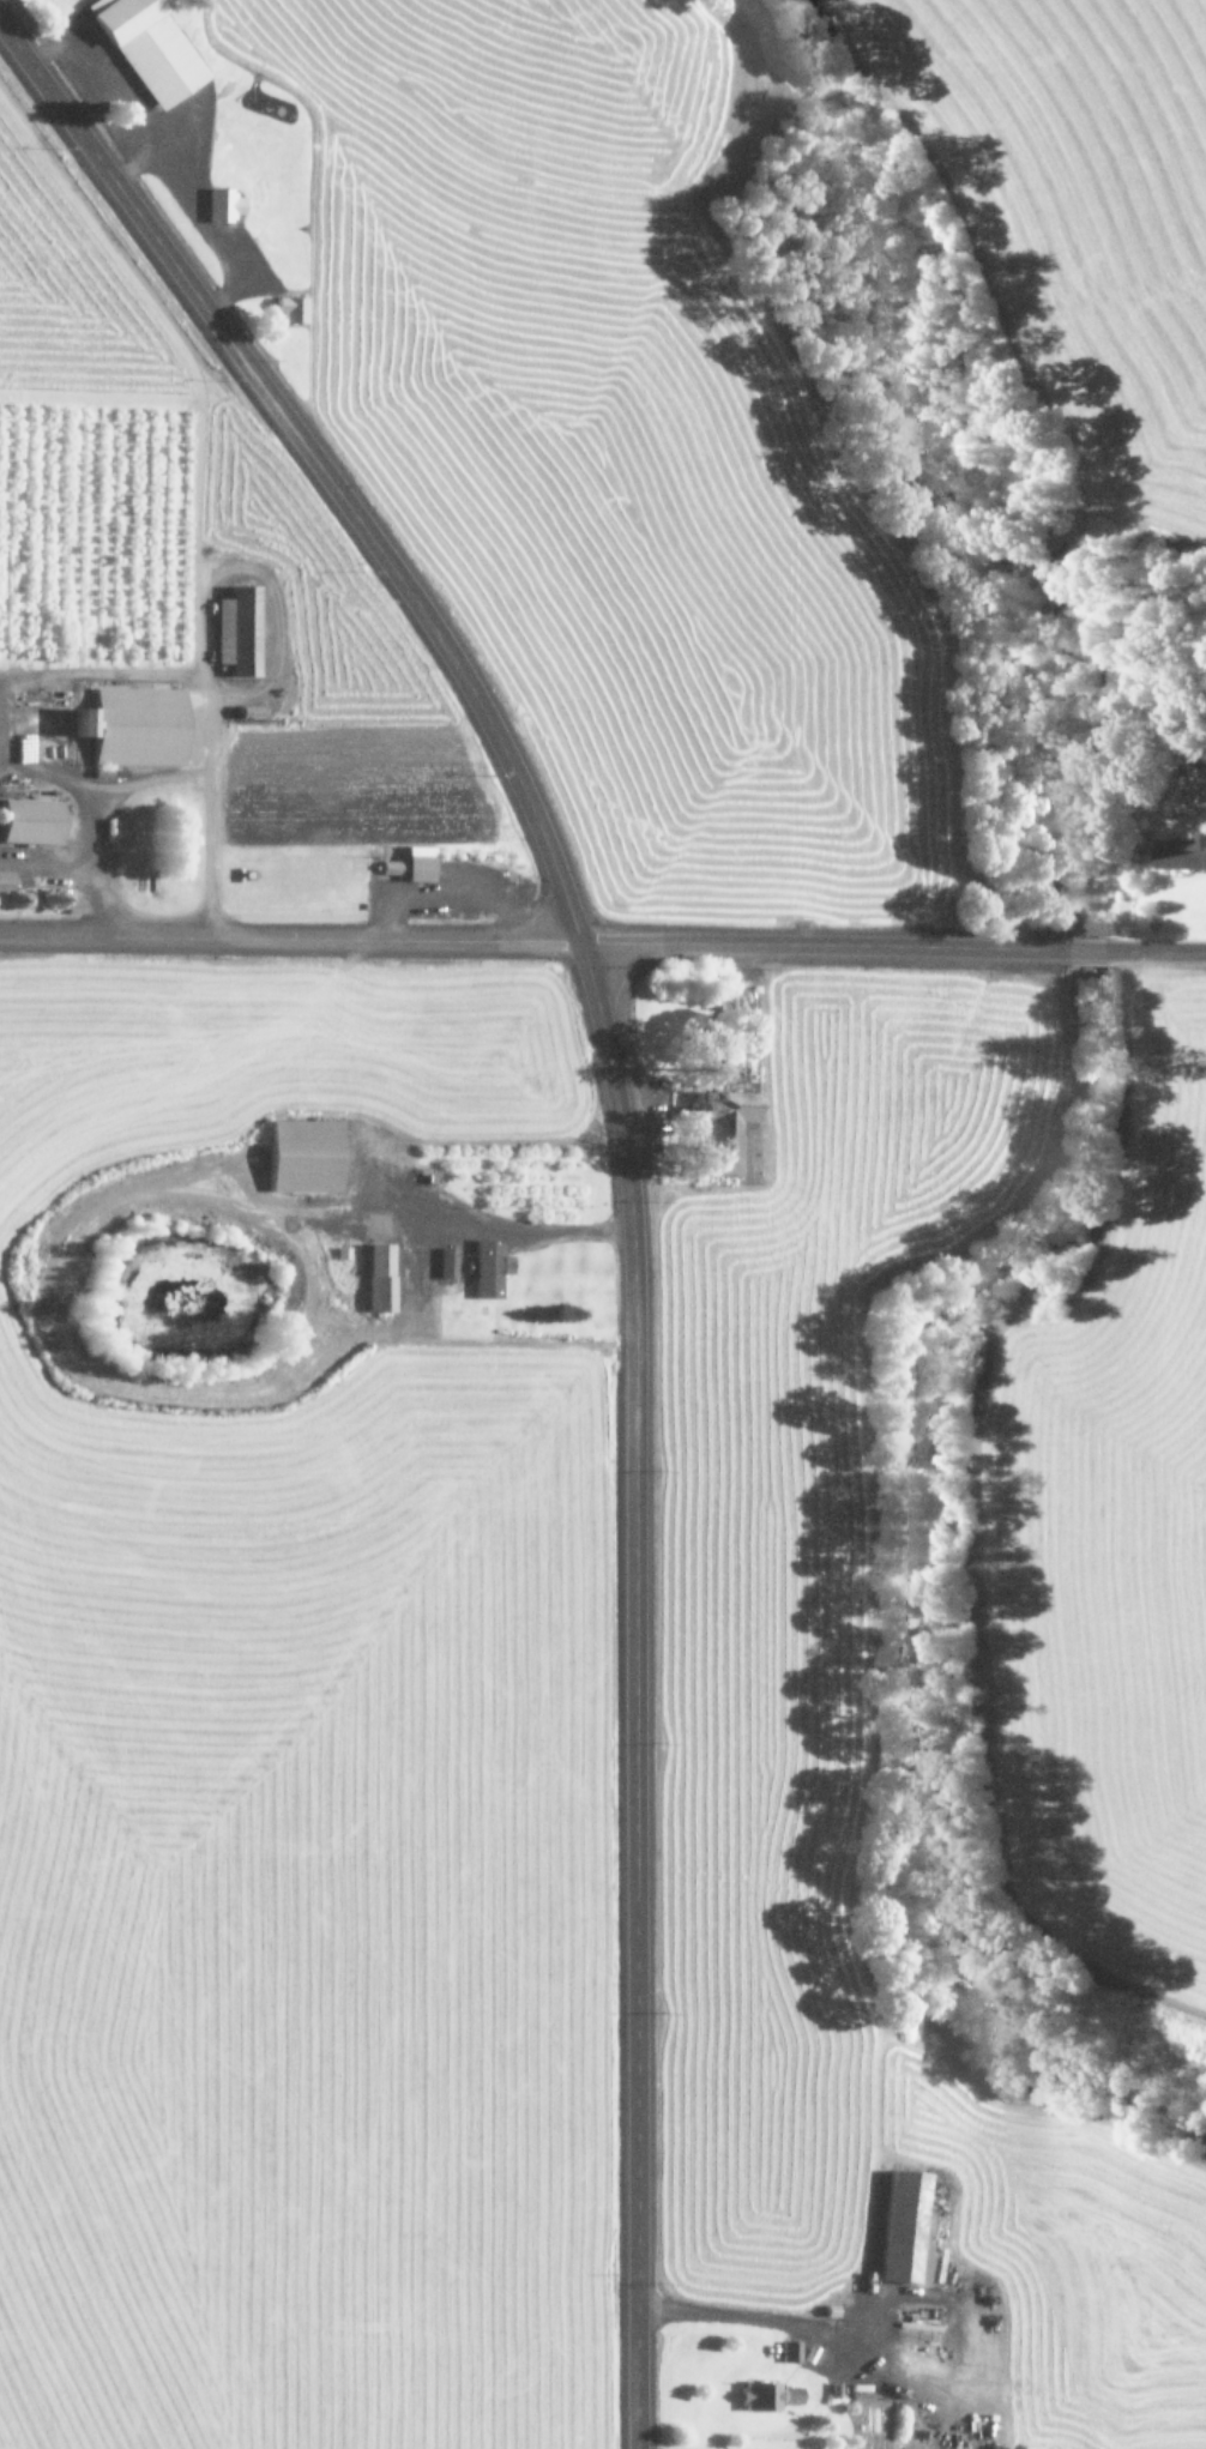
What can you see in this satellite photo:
building: (146, 48)
building: (221, 204)
crop: (1063, 216)
building: (288, 308)
crop: (417, 482)
building: (234, 629)
building: (127, 725)
building: (1198, 786)
building: (25, 820)
building: (1181, 851)
building: (414, 863)
building: (2, 879)
road: (288, 935)
road: (891, 945)
building: (719, 1129)
road: (616, 1151)
building: (299, 1156)
building: (445, 1262)
building: (487, 1268)
building: (374, 1278)
crop: (1111, 1519)
crop: (741, 1630)
crop: (296, 1711)
building: (897, 2226)
building: (789, 2351)
building: (790, 2394)
building: (758, 2395)

